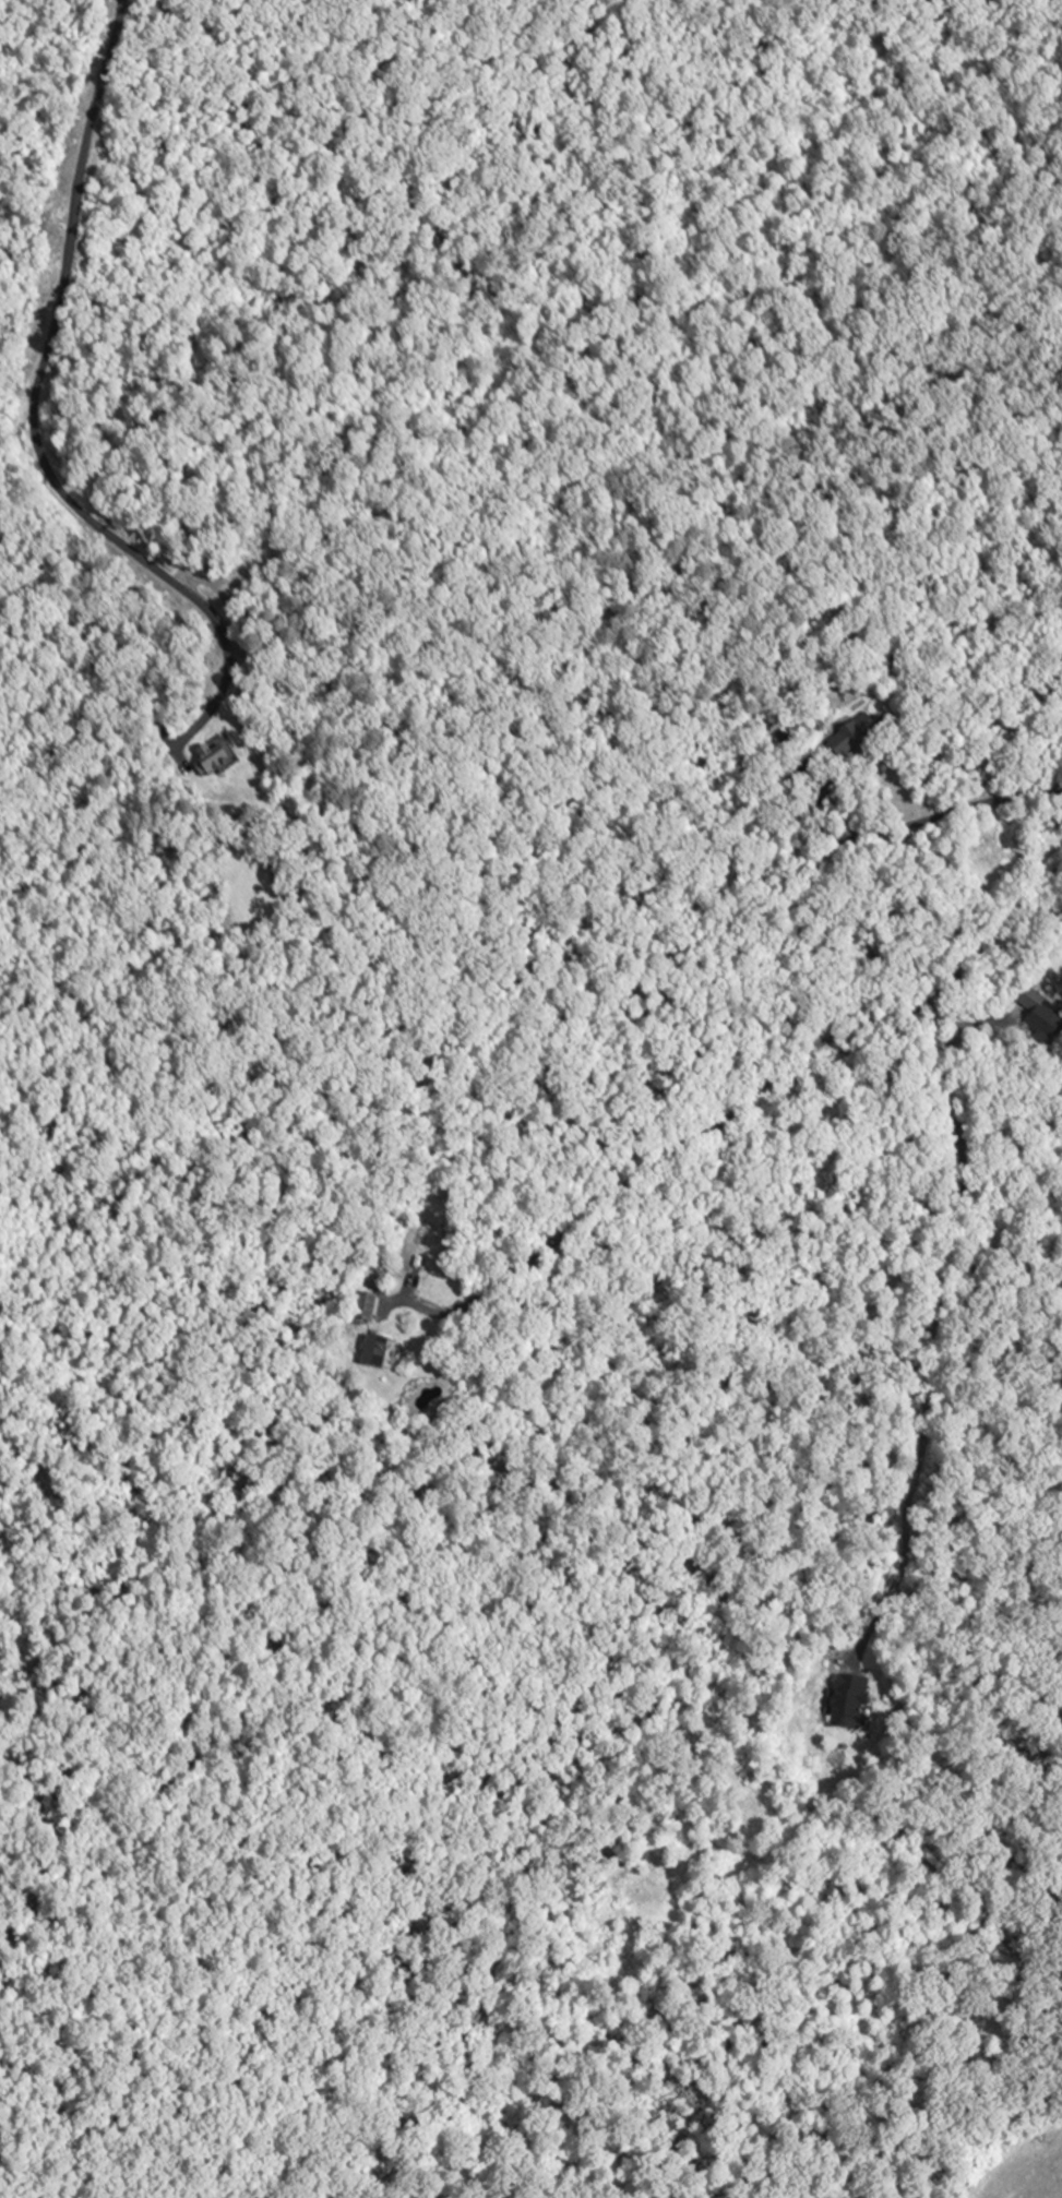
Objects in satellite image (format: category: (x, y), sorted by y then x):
road: (36, 395)
building: (864, 738)
building: (224, 756)
building: (1048, 1018)
road: (760, 1083)
building: (370, 1310)
road: (939, 1316)
building: (384, 1353)
building: (856, 1704)

